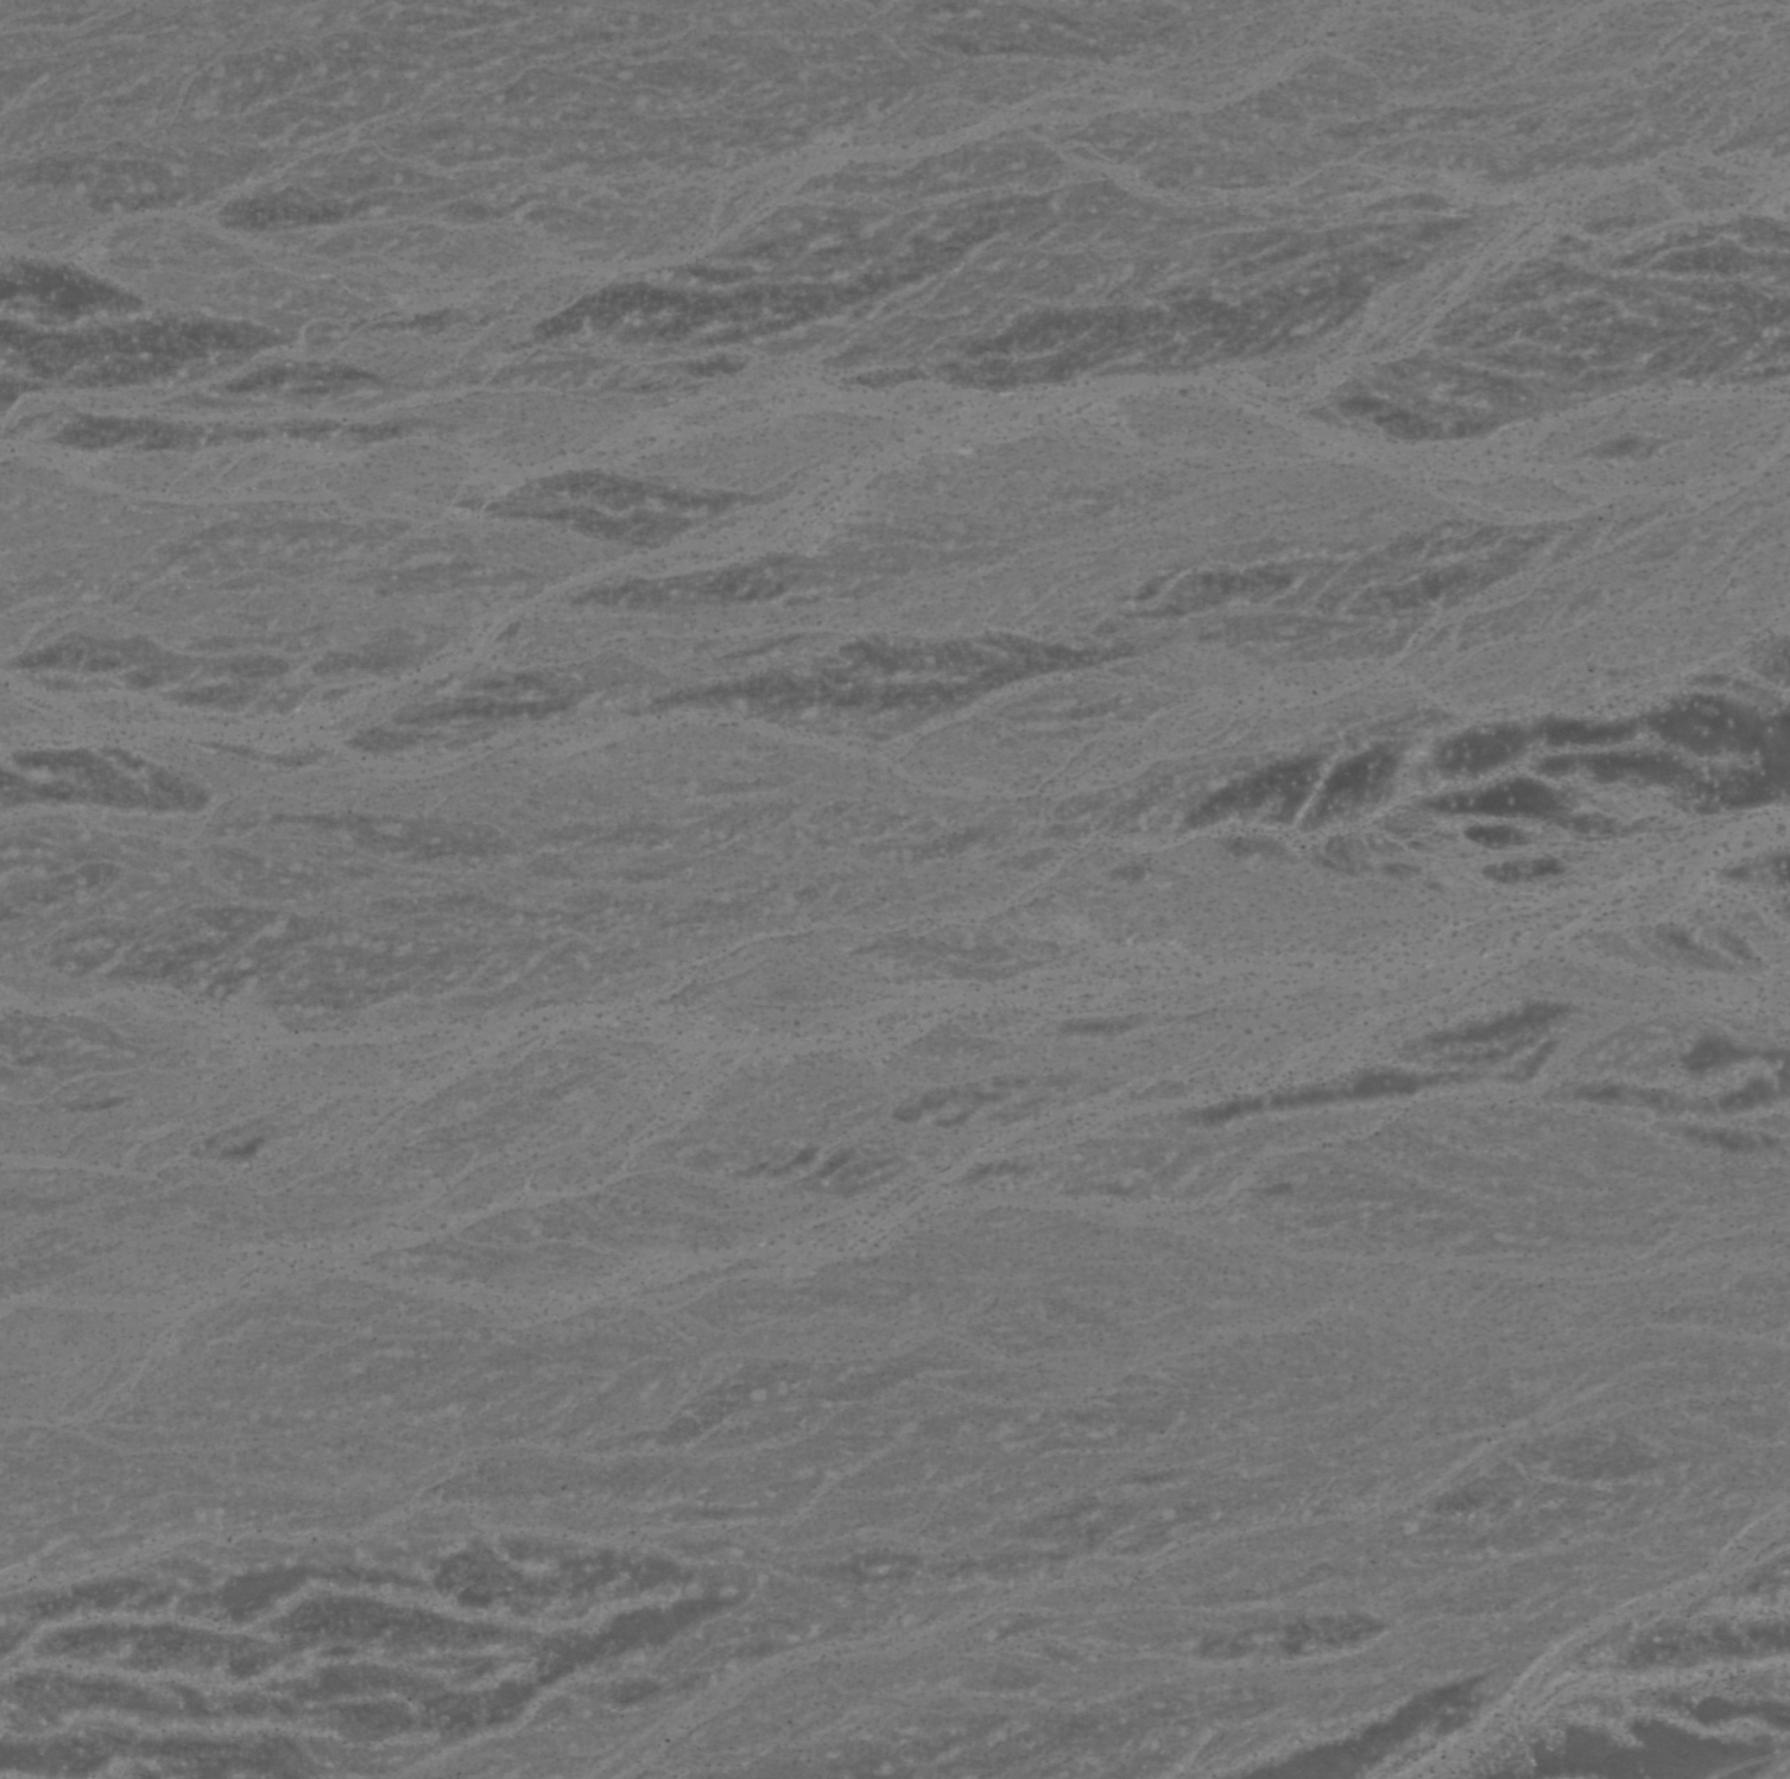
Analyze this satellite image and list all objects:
road: (1748, 1758)

